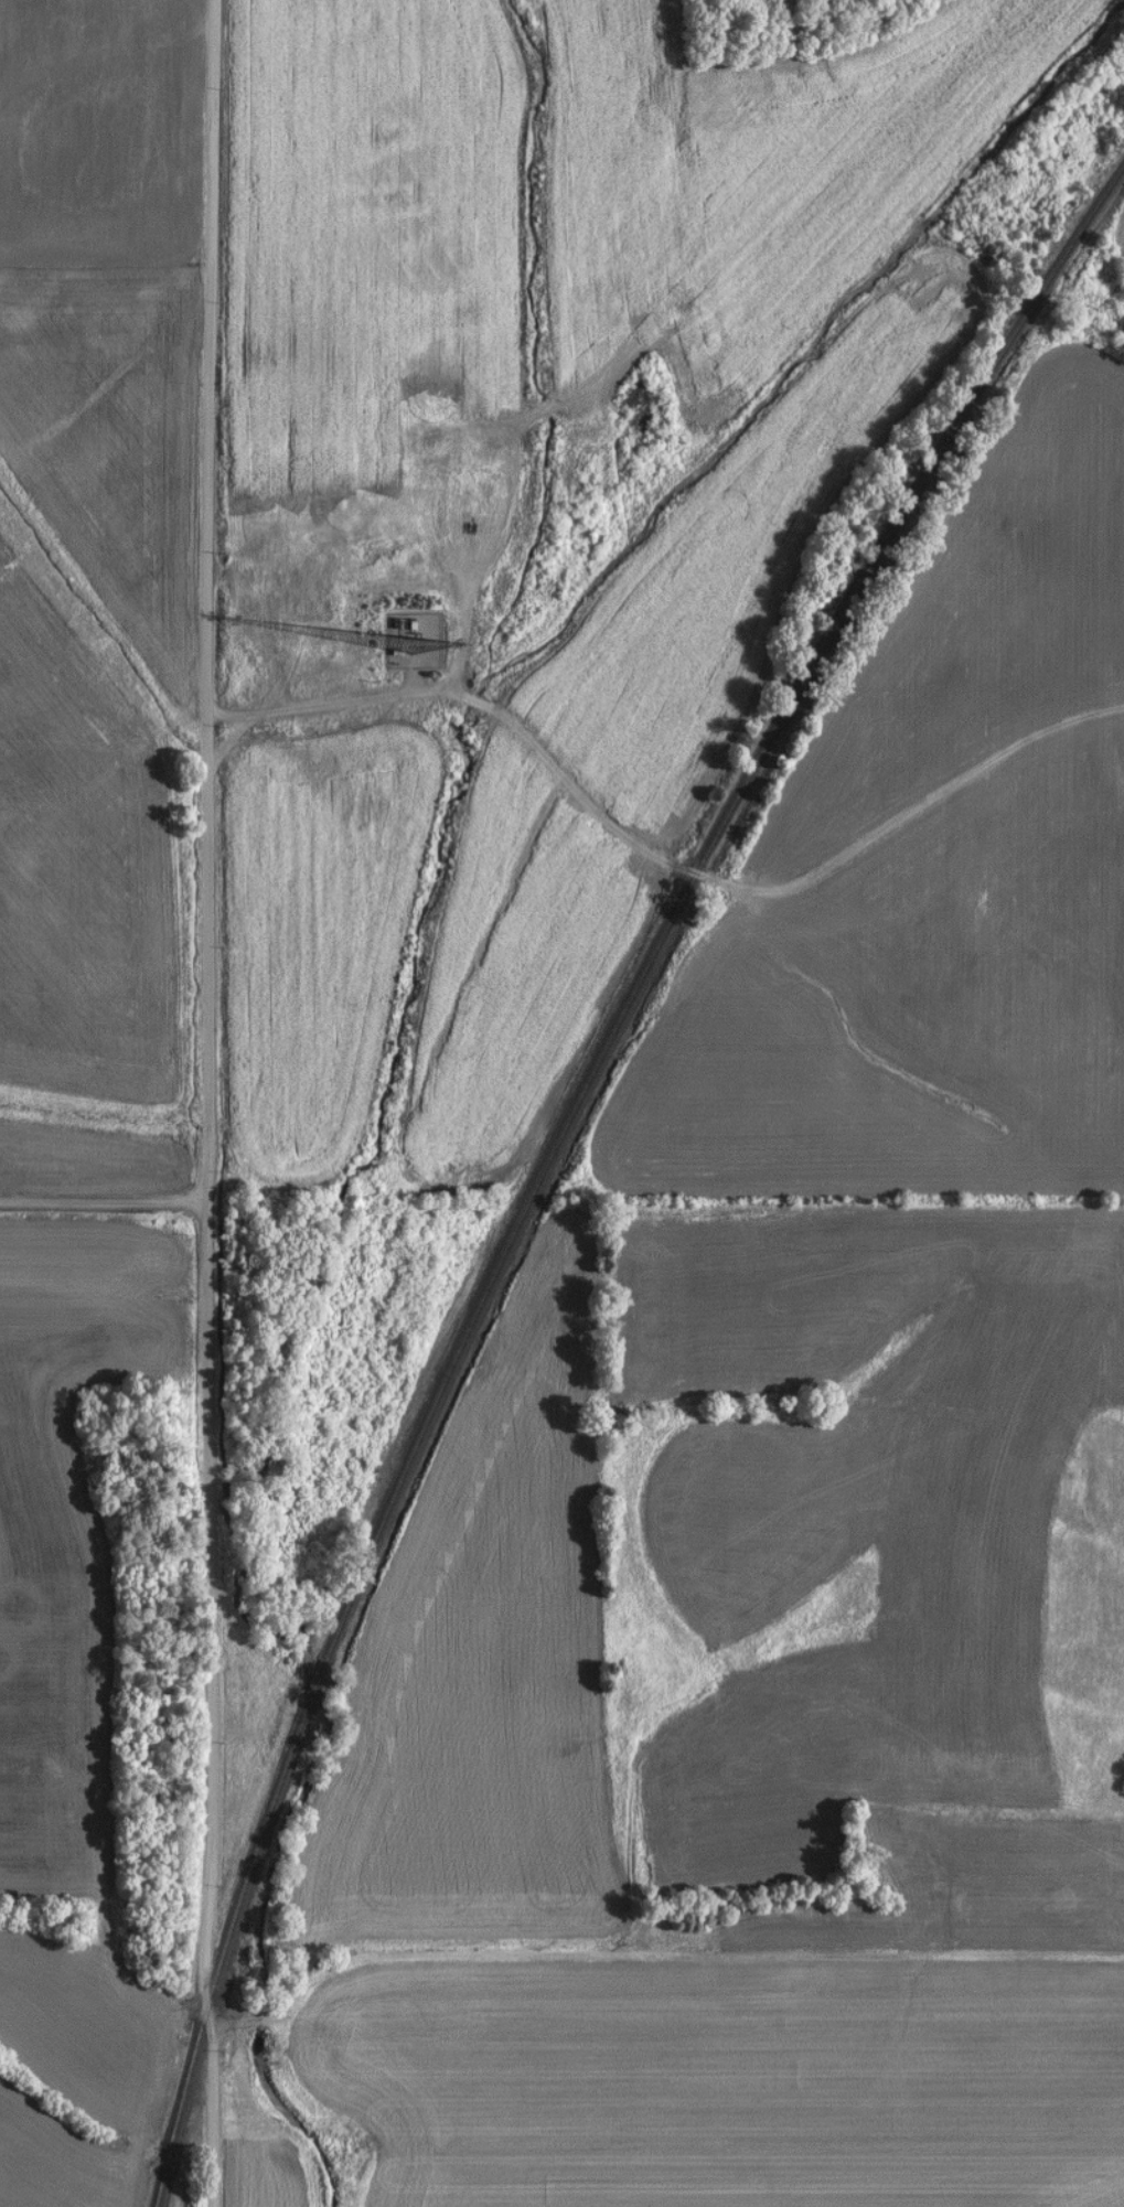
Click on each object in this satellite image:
road: (205, 1104)
railway: (554, 1145)
road: (103, 1207)

